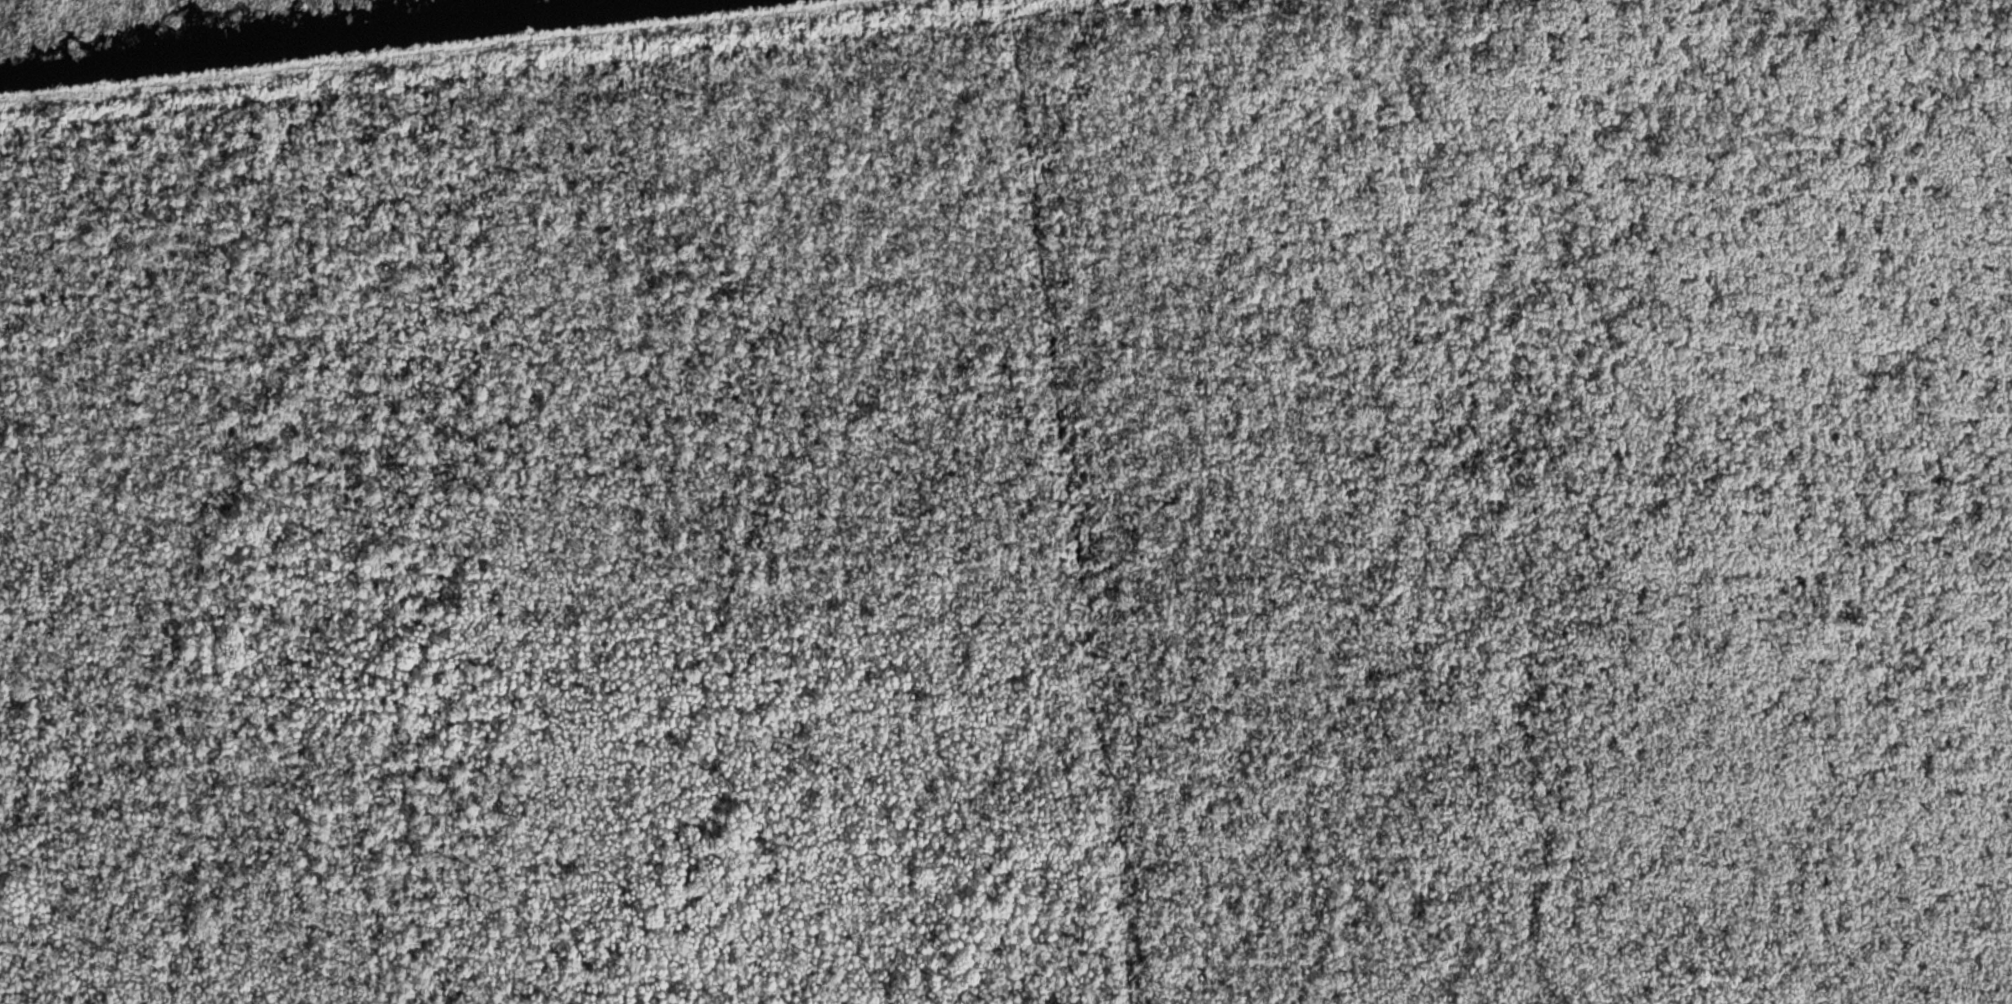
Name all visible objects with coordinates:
road: (474, 53)

